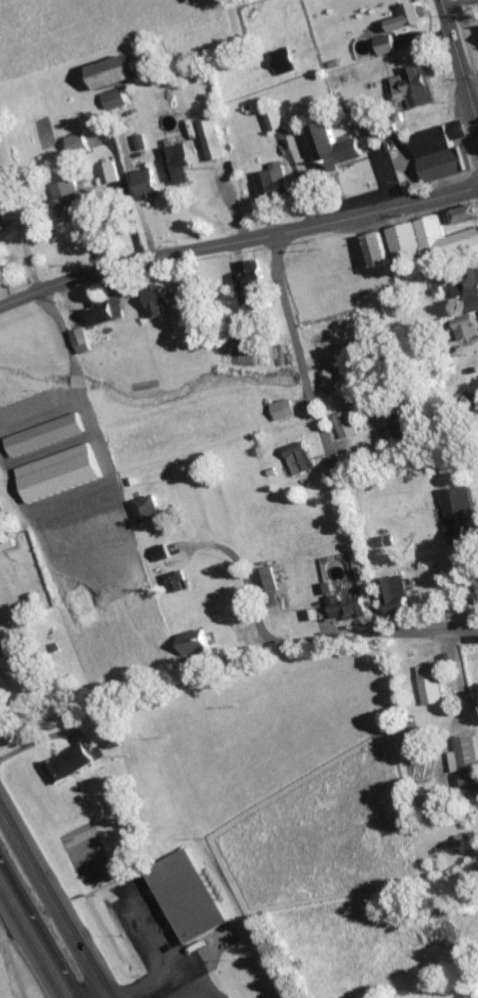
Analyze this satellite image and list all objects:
building: (409, 18)
building: (389, 46)
road: (461, 55)
building: (285, 62)
building: (117, 73)
building: (416, 88)
building: (117, 100)
building: (277, 121)
building: (215, 141)
building: (80, 143)
building: (336, 149)
building: (445, 153)
building: (180, 162)
building: (111, 173)
building: (277, 183)
building: (147, 184)
building: (75, 199)
building: (469, 215)
building: (2, 231)
road: (237, 240)
building: (433, 240)
building: (384, 251)
building: (255, 284)
building: (191, 289)
building: (470, 291)
building: (160, 302)
building: (109, 312)
building: (469, 328)
building: (84, 342)
building: (333, 376)
building: (286, 411)
building: (348, 426)
road: (325, 432)
building: (48, 436)
building: (302, 459)
building: (460, 506)
building: (1, 510)
building: (151, 510)
building: (458, 535)
building: (388, 542)
building: (163, 554)
building: (268, 581)
building: (177, 582)
building: (399, 598)
building: (349, 609)
road: (297, 639)
building: (197, 643)
building: (20, 672)
building: (434, 686)
building: (71, 765)
building: (468, 766)
building: (188, 897)
road: (56, 900)
road: (149, 928)
road: (34, 938)
road: (150, 985)

